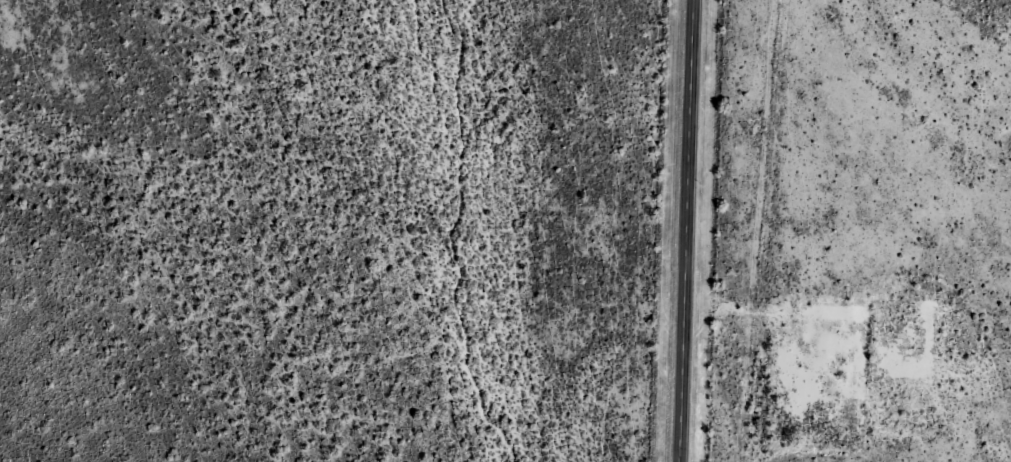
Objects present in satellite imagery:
road: (687, 230)

